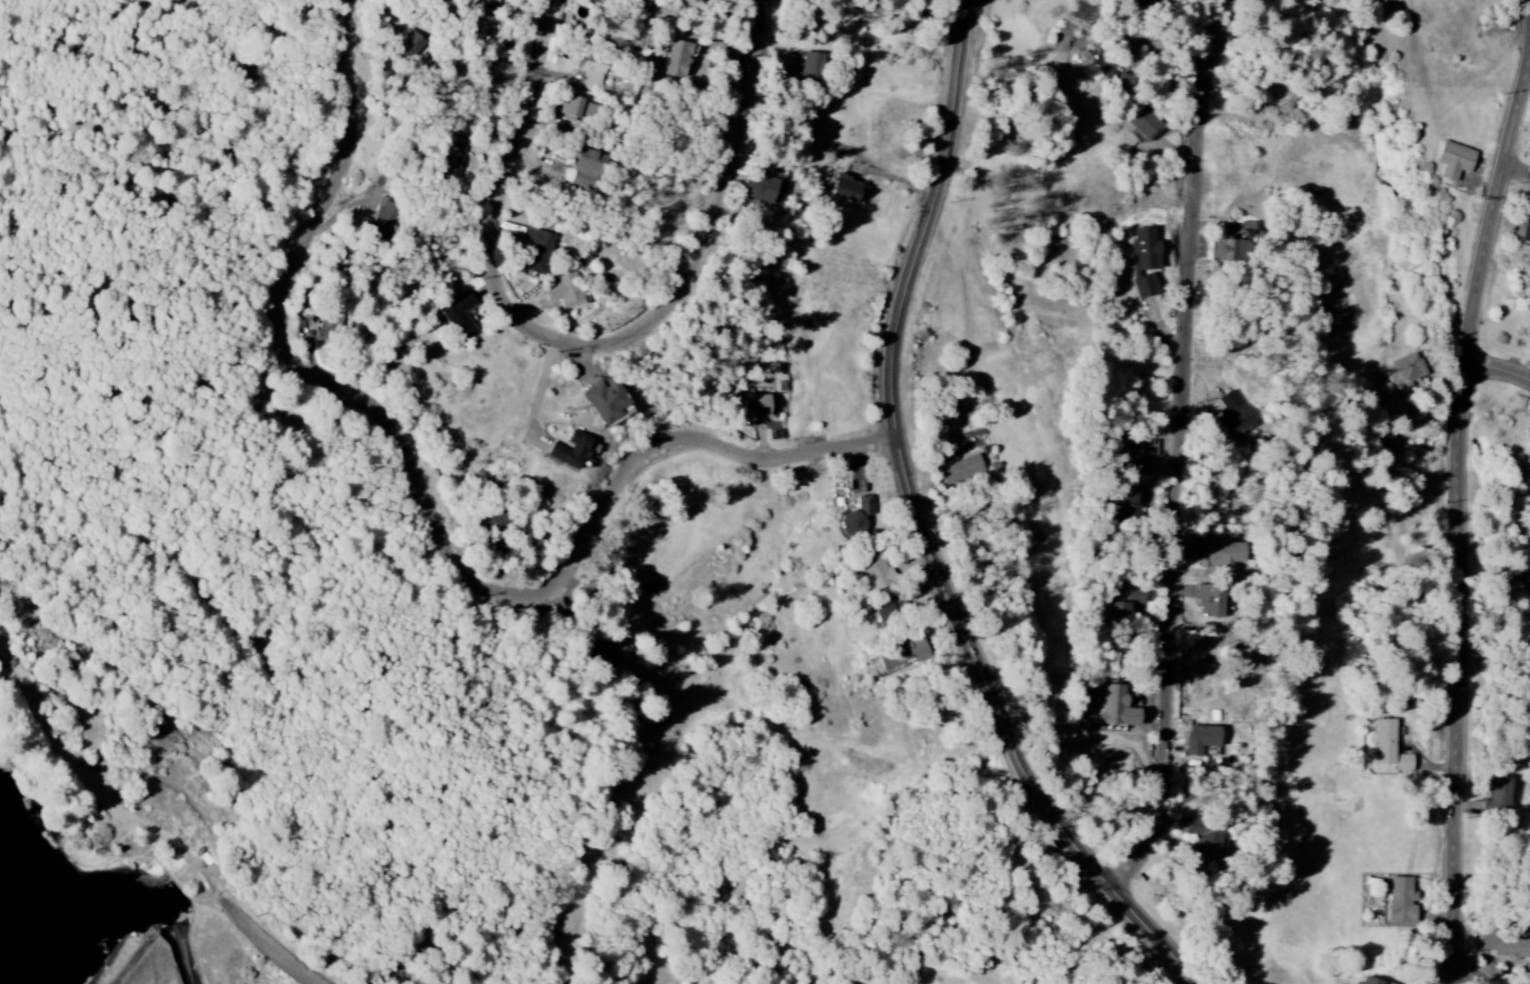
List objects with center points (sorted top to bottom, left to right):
building: (1147, 1)
building: (411, 44)
building: (675, 59)
building: (810, 69)
building: (1107, 69)
building: (591, 74)
building: (574, 107)
building: (1145, 123)
building: (453, 162)
road: (1520, 168)
building: (588, 170)
building: (761, 190)
building: (845, 190)
building: (380, 220)
building: (1527, 227)
building: (1236, 245)
building: (537, 250)
building: (1145, 261)
building: (565, 291)
building: (459, 315)
building: (331, 329)
road: (597, 344)
building: (1404, 371)
road: (1499, 373)
building: (607, 400)
building: (757, 407)
building: (1233, 417)
building: (570, 451)
building: (1129, 457)
building: (961, 470)
road: (1187, 474)
building: (1123, 503)
road: (436, 510)
building: (856, 519)
road: (1460, 524)
road: (926, 527)
building: (1221, 555)
building: (877, 574)
building: (1211, 602)
building: (1125, 604)
building: (887, 614)
building: (610, 650)
road: (21, 689)
building: (1121, 709)
building: (1202, 740)
building: (1389, 748)
building: (1499, 796)
road: (117, 800)
building: (1208, 840)
building: (1401, 901)
road: (256, 927)
building: (1505, 945)
road: (1474, 973)
building: (1373, 981)

